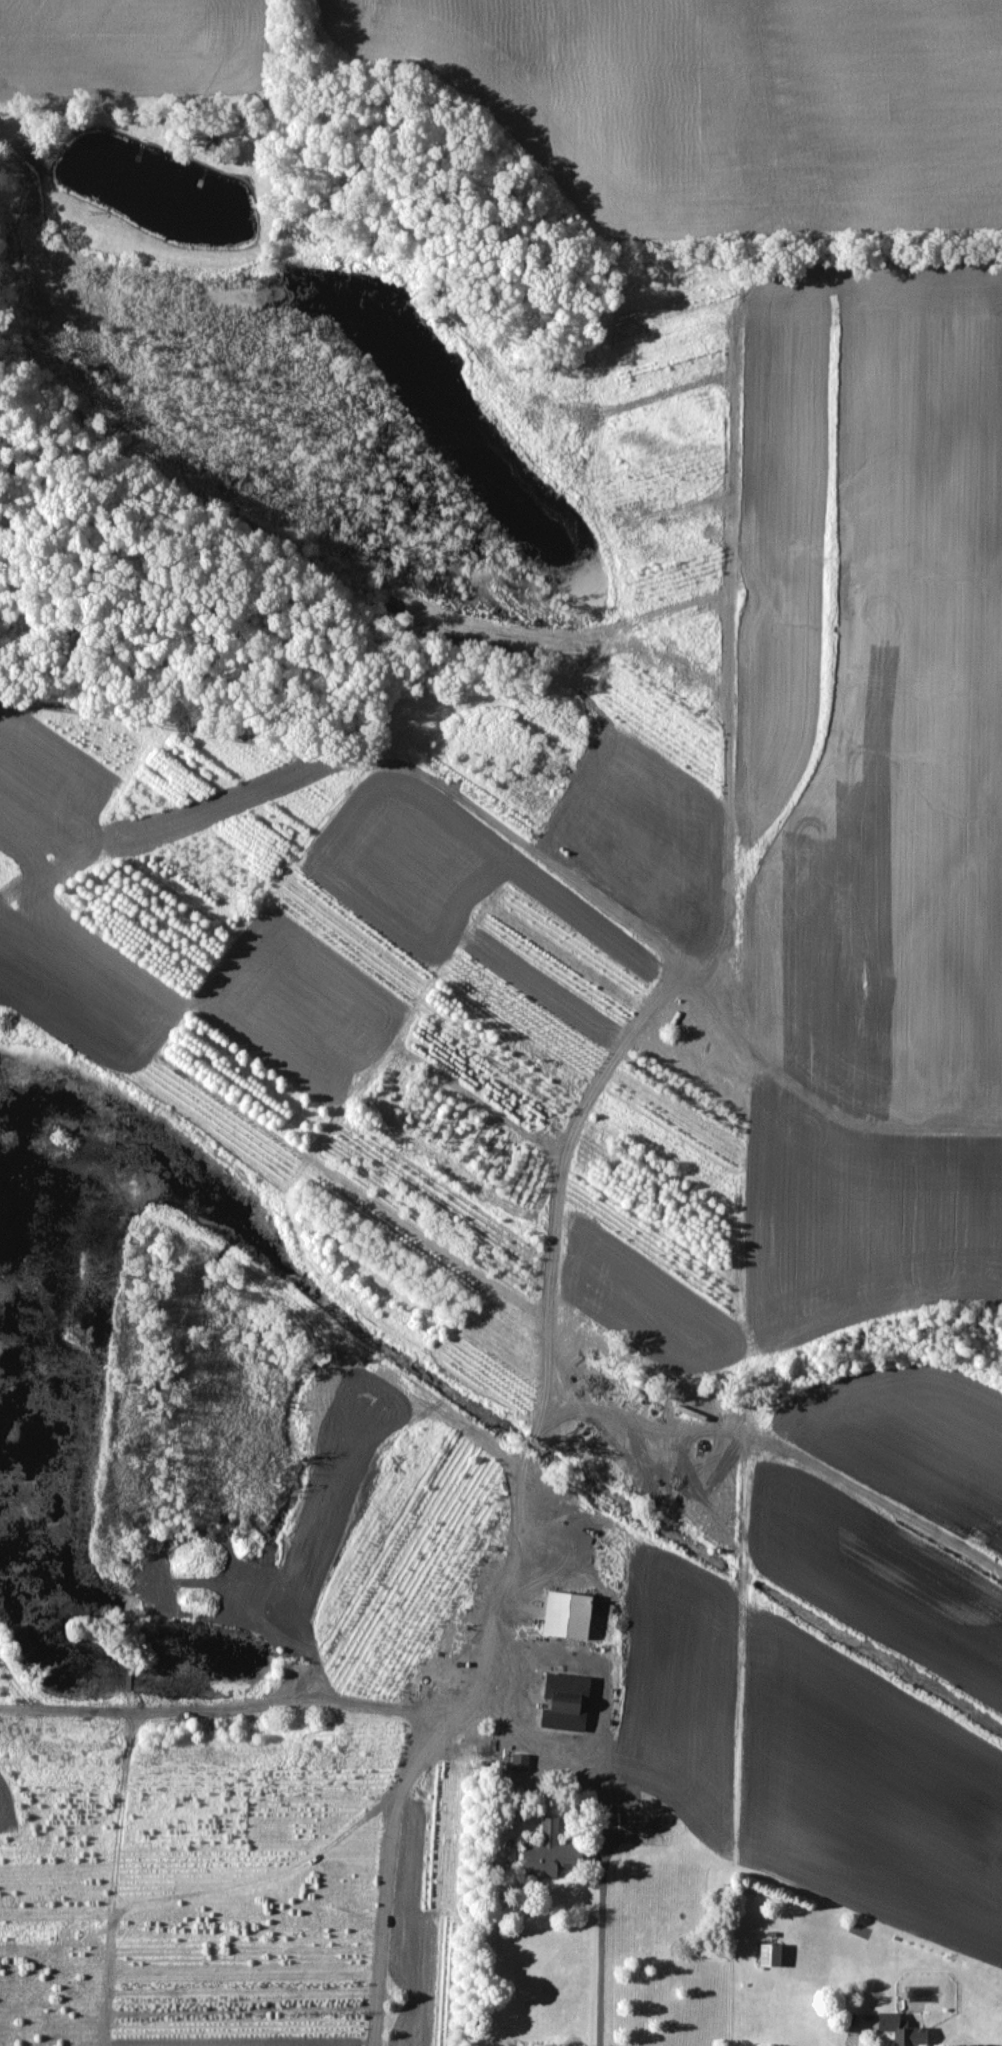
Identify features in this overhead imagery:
road: (514, 1562)
building: (568, 1616)
building: (566, 1702)
building: (520, 1762)
road: (605, 1779)
building: (549, 1853)
road: (388, 1926)
building: (770, 1955)
building: (900, 2030)

